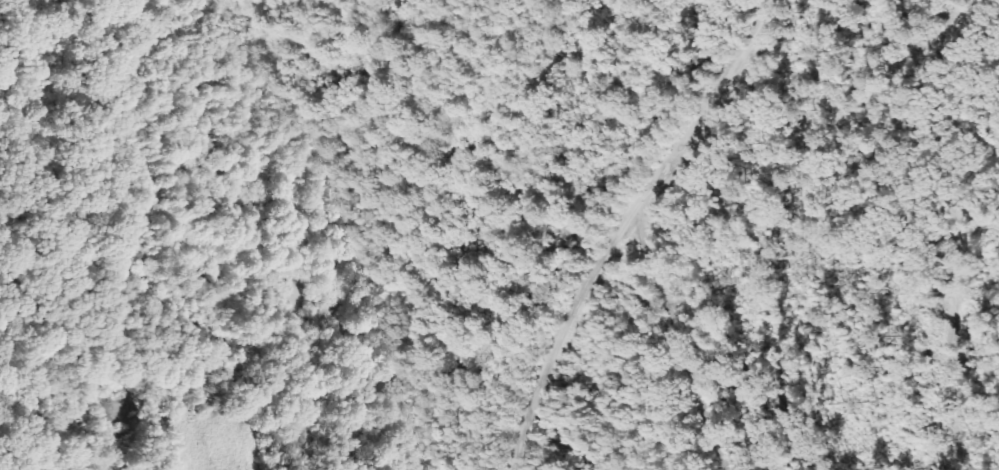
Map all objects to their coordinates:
road: (616, 229)

